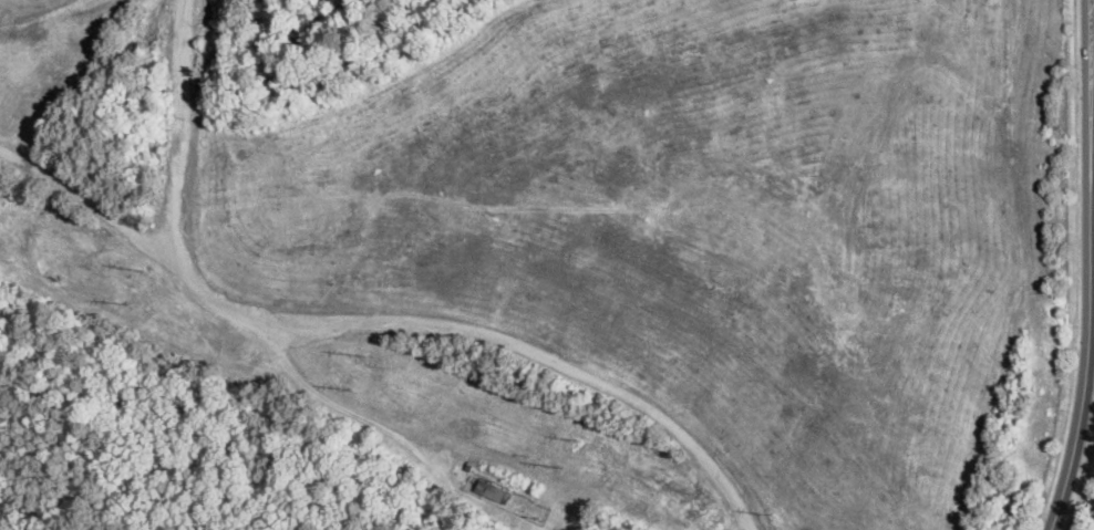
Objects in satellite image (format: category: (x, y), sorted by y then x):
road: (101, 204)
landfill: (530, 263)
road: (1075, 267)
road: (1088, 267)
road: (369, 315)
road: (350, 408)
building: (469, 463)
building: (494, 491)
landfill: (1093, 528)

